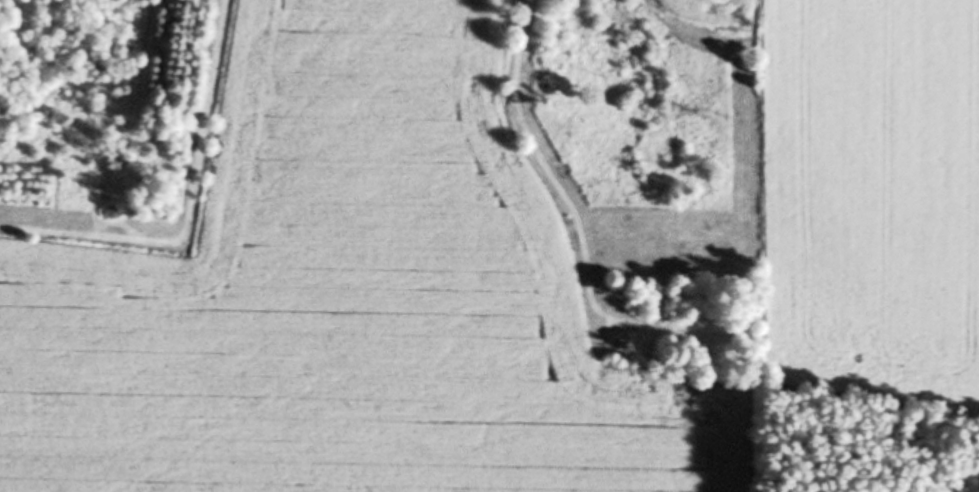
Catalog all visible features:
crop: (868, 188)

